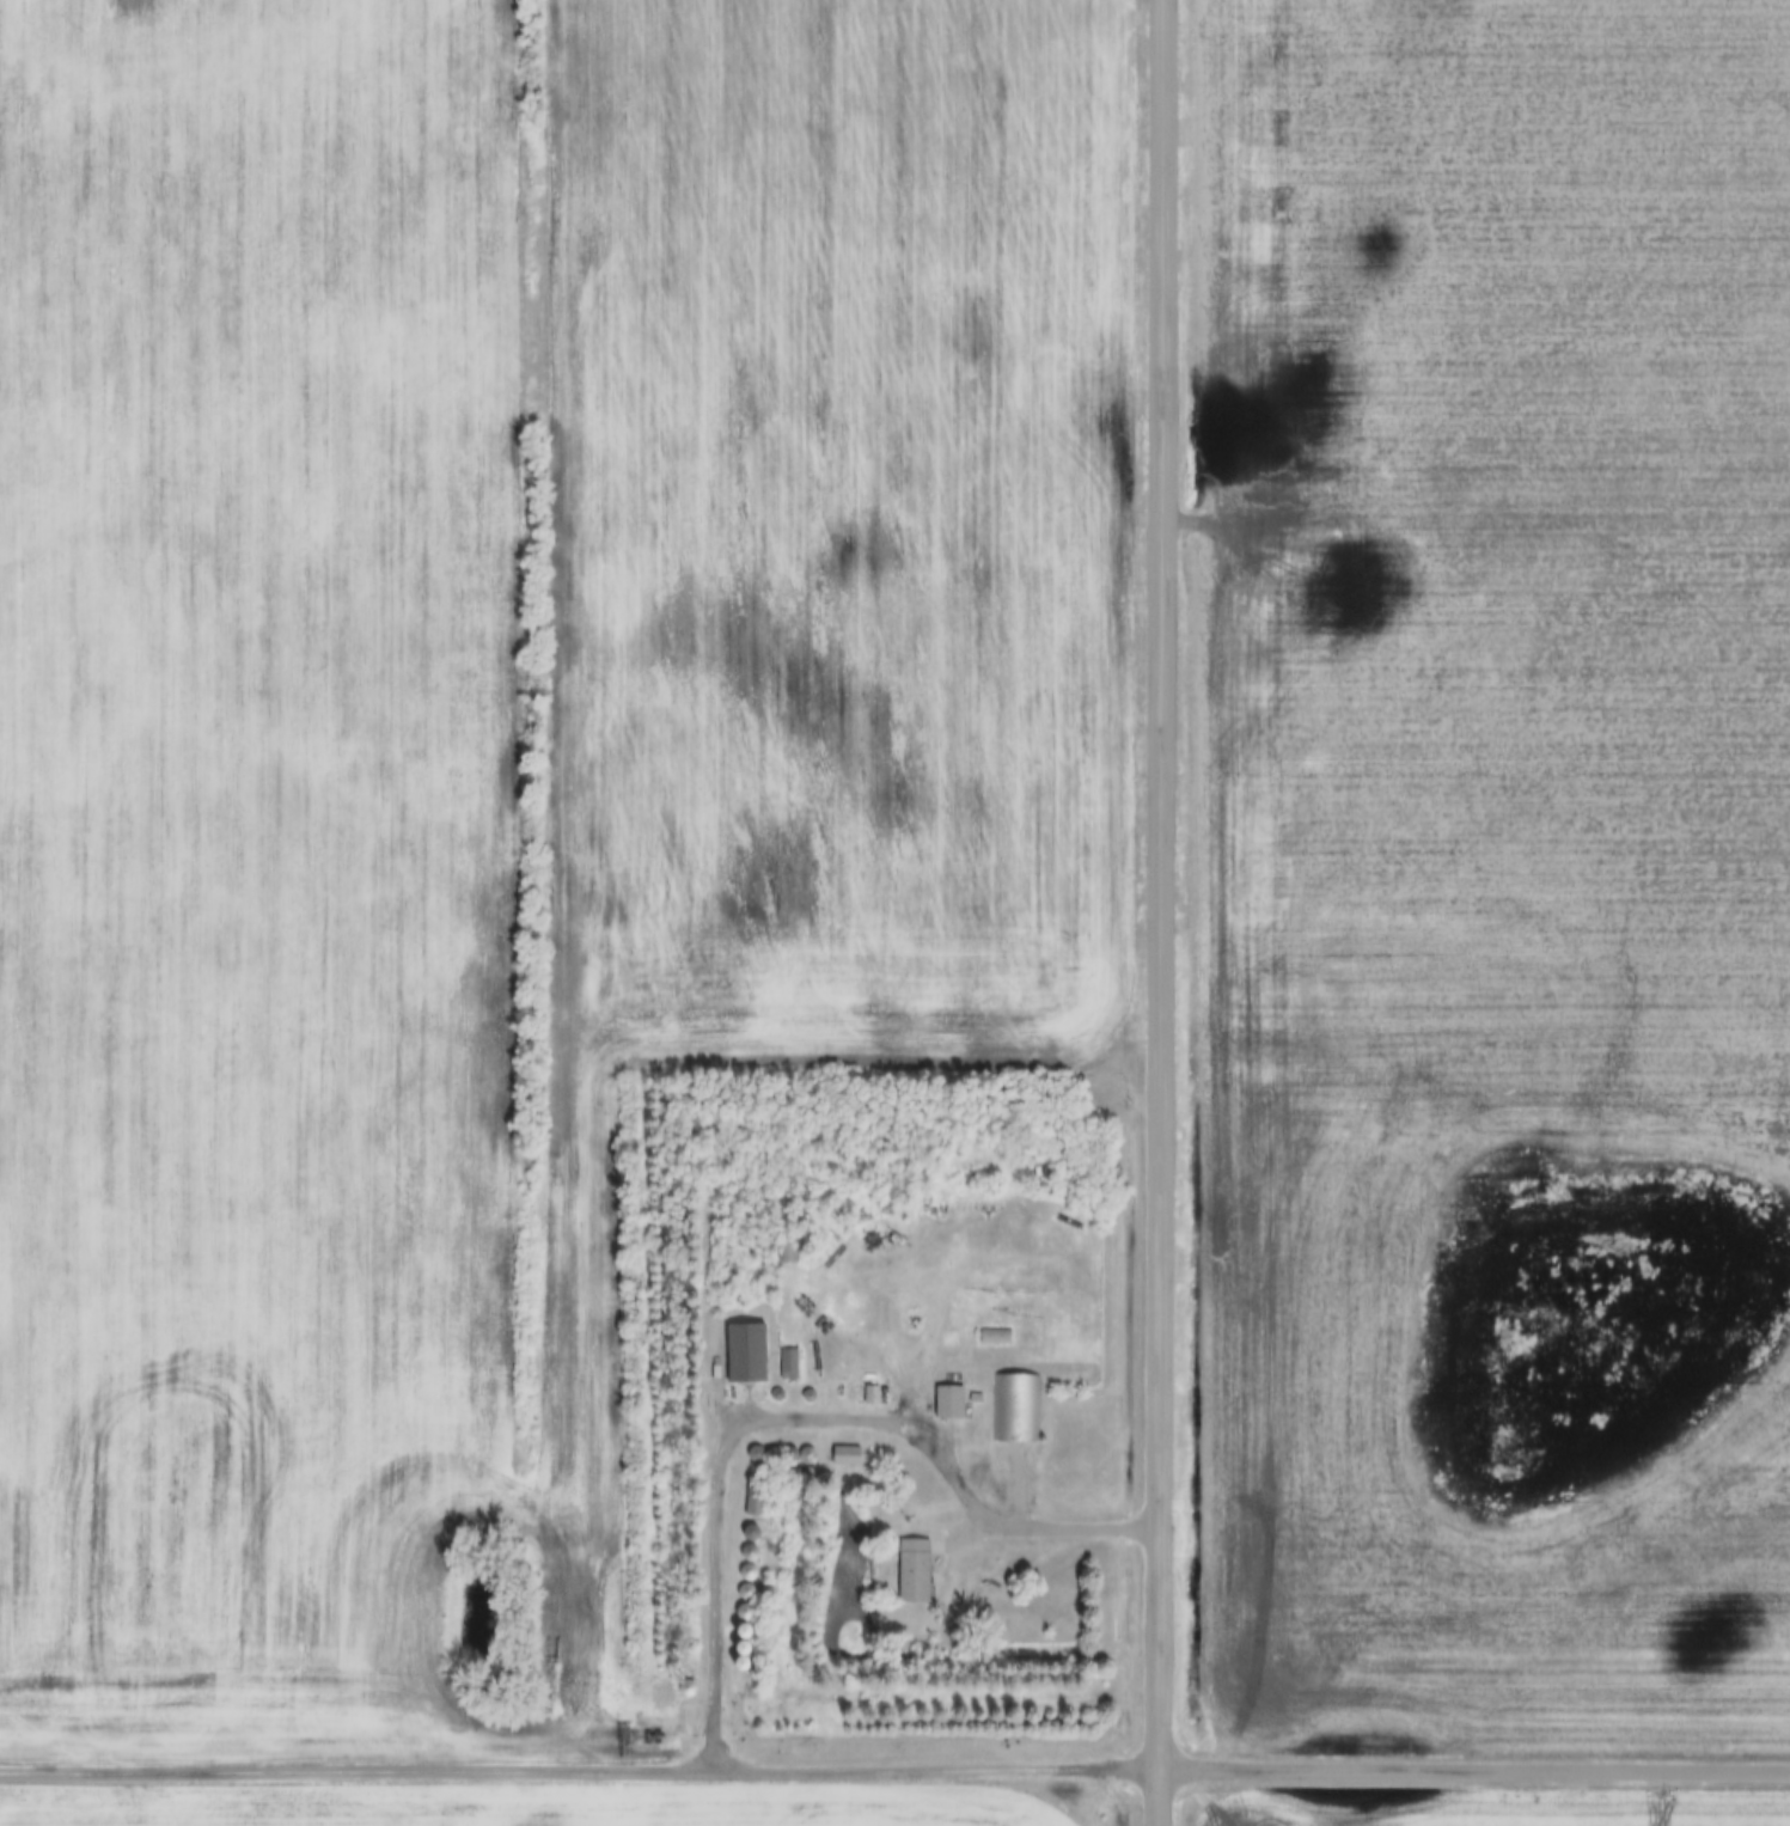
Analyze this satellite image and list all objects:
road: (1159, 912)
building: (996, 1337)
building: (751, 1352)
building: (790, 1363)
building: (872, 1394)
building: (952, 1401)
building: (1014, 1406)
road: (796, 1413)
building: (849, 1455)
building: (757, 1496)
building: (917, 1571)
road: (940, 1765)
road: (1476, 1766)
road: (359, 1767)

